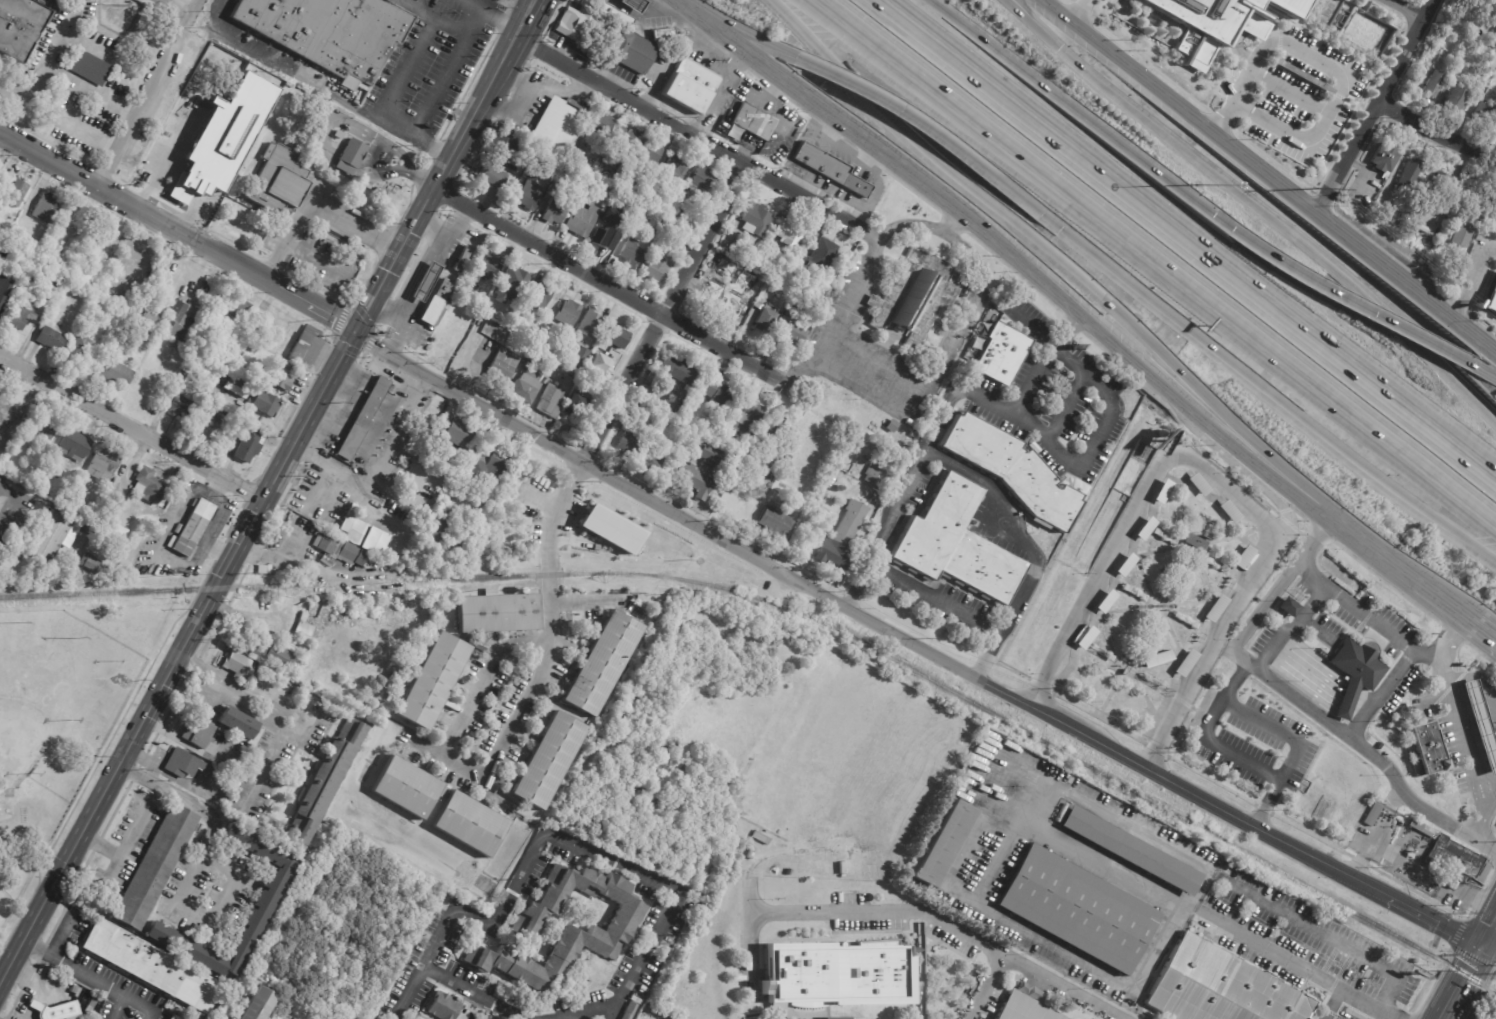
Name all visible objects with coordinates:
road: (655, 0)
road: (683, 4)
road: (180, 5)
building: (632, 5)
gas station: (632, 5)
parking lot: (181, 6)
road: (657, 6)
road: (1408, 10)
road: (672, 12)
road: (1080, 13)
building: (614, 15)
road: (495, 17)
road: (469, 19)
building: (574, 22)
building: (1213, 22)
building: (20, 27)
road: (693, 27)
road: (524, 33)
road: (744, 33)
building: (662, 34)
road: (706, 38)
building: (335, 41)
road: (721, 49)
building: (632, 52)
road: (738, 62)
parking lot: (79, 65)
building: (87, 66)
road: (441, 73)
road: (55, 74)
road: (756, 74)
road: (399, 80)
building: (1435, 84)
building: (690, 85)
road: (795, 87)
road: (27, 88)
road: (776, 90)
road: (562, 94)
road: (721, 95)
road: (142, 96)
road: (520, 97)
building: (1456, 99)
building: (1351, 100)
road: (1177, 106)
road: (1377, 106)
road: (805, 112)
building: (1484, 113)
road: (1079, 114)
road: (476, 119)
building: (753, 121)
road: (71, 125)
building: (602, 126)
road: (926, 126)
building: (556, 127)
road: (832, 131)
road: (1314, 131)
road: (1438, 134)
building: (1495, 136)
road: (694, 137)
building: (623, 138)
road: (849, 144)
building: (502, 145)
building: (165, 146)
building: (351, 153)
building: (651, 154)
building: (576, 155)
road: (867, 157)
building: (1385, 158)
building: (547, 160)
building: (516, 168)
building: (673, 168)
building: (831, 170)
building: (488, 174)
building: (566, 174)
building: (1411, 174)
building: (163, 177)
building: (581, 178)
building: (280, 181)
building: (648, 181)
building: (1442, 181)
building: (699, 183)
road: (909, 188)
building: (18, 193)
building: (527, 196)
road: (314, 202)
building: (667, 202)
building: (613, 203)
road: (1252, 205)
building: (43, 208)
building: (553, 212)
building: (682, 213)
building: (641, 218)
building: (754, 220)
building: (581, 221)
road: (954, 222)
road: (908, 225)
road: (430, 226)
building: (1463, 229)
building: (788, 234)
building: (1493, 234)
road: (1187, 237)
building: (605, 239)
road: (178, 240)
building: (740, 245)
building: (462, 247)
building: (170, 252)
building: (631, 252)
road: (1364, 252)
road: (428, 253)
road: (1057, 255)
building: (747, 257)
building: (817, 259)
road: (1159, 263)
building: (733, 264)
building: (485, 268)
building: (656, 269)
building: (158, 272)
road: (1016, 273)
building: (748, 274)
building: (515, 276)
building: (424, 283)
road: (610, 283)
building: (500, 285)
road: (1471, 285)
building: (442, 292)
building: (6, 294)
building: (539, 295)
building: (915, 297)
building: (1490, 297)
road: (974, 300)
building: (724, 301)
road: (1345, 303)
building: (446, 304)
building: (235, 308)
building: (152, 310)
building: (431, 310)
building: (93, 312)
building: (567, 313)
road: (659, 315)
road: (844, 317)
building: (20, 319)
building: (177, 319)
building: (765, 321)
road: (1454, 323)
road: (401, 324)
building: (588, 324)
road: (1075, 325)
building: (511, 326)
building: (793, 326)
building: (270, 327)
building: (494, 332)
building: (616, 337)
traffic signals: (356, 338)
building: (51, 340)
road: (1113, 346)
building: (305, 347)
building: (79, 348)
building: (999, 353)
building: (534, 356)
building: (581, 356)
road: (880, 362)
building: (599, 363)
building: (501, 367)
building: (674, 370)
building: (573, 372)
building: (114, 374)
road: (1483, 375)
building: (278, 376)
building: (181, 378)
building: (595, 383)
building: (526, 386)
building: (236, 387)
road: (1267, 391)
building: (646, 394)
building: (719, 394)
building: (695, 395)
building: (168, 398)
building: (549, 402)
building: (263, 403)
building: (576, 406)
road: (1062, 406)
building: (180, 407)
building: (591, 407)
building: (749, 415)
road: (942, 416)
building: (223, 417)
building: (9, 418)
building: (361, 421)
building: (666, 421)
building: (202, 424)
building: (892, 426)
building: (771, 427)
road: (1182, 427)
road: (132, 428)
building: (43, 429)
building: (647, 429)
building: (455, 432)
building: (914, 435)
building: (231, 437)
road: (1094, 439)
building: (912, 441)
building: (248, 444)
building: (627, 444)
building: (73, 446)
building: (225, 448)
building: (903, 448)
building: (710, 455)
building: (787, 458)
road: (1162, 459)
building: (653, 464)
building: (102, 465)
building: (445, 466)
building: (1010, 468)
building: (488, 469)
building: (879, 479)
building: (113, 480)
building: (696, 482)
building: (467, 484)
building: (148, 487)
building: (876, 499)
road: (10, 500)
road: (812, 508)
road: (1284, 510)
road: (1285, 510)
road: (1301, 514)
building: (776, 523)
road: (689, 524)
building: (353, 528)
building: (1144, 528)
building: (609, 529)
building: (192, 530)
road: (1321, 531)
building: (434, 532)
building: (459, 535)
building: (52, 537)
building: (118, 537)
building: (842, 539)
building: (956, 540)
building: (1195, 541)
road: (1030, 549)
building: (339, 550)
road: (163, 552)
road: (1372, 552)
building: (1244, 558)
road: (296, 563)
building: (89, 564)
building: (1124, 565)
road: (220, 577)
road: (1387, 583)
road: (1316, 593)
road: (936, 598)
road: (1441, 602)
building: (1289, 607)
railway: (794, 608)
road: (1262, 608)
building: (498, 611)
building: (302, 616)
road: (1369, 621)
road: (556, 629)
building: (302, 630)
road: (1481, 631)
road: (1454, 632)
building: (479, 646)
road: (1482, 653)
building: (270, 654)
building: (1156, 658)
building: (600, 662)
road: (1048, 664)
building: (237, 665)
building: (1357, 670)
road: (1197, 672)
building: (432, 680)
road: (1482, 683)
road: (1285, 687)
road: (199, 692)
road: (278, 708)
building: (237, 723)
building: (1481, 723)
gas station: (1481, 723)
road: (1281, 727)
building: (198, 732)
road: (1085, 738)
road: (1466, 738)
road: (1364, 747)
building: (1428, 747)
road: (1225, 748)
building: (548, 759)
building: (181, 763)
building: (234, 764)
building: (322, 780)
building: (407, 788)
road: (1490, 793)
building: (216, 802)
building: (1372, 814)
building: (470, 823)
building: (268, 825)
building: (1423, 829)
building: (760, 838)
building: (950, 842)
building: (1135, 850)
road: (1313, 857)
building: (1454, 862)
building: (154, 867)
road: (194, 872)
road: (982, 895)
building: (263, 898)
building: (1084, 909)
road: (501, 911)
road: (945, 926)
building: (563, 929)
road: (1489, 931)
road: (1327, 936)
road: (1492, 936)
traffic signals: (1482, 945)
road: (640, 962)
road: (1293, 962)
building: (149, 966)
building: (920, 967)
building: (834, 971)
railway: (1471, 973)
road: (93, 976)
road: (1460, 981)
building: (1224, 986)
road: (986, 988)
road: (409, 992)
building: (635, 1000)
building: (92, 1003)
road: (1332, 1003)
building: (257, 1005)
building: (444, 1006)
building: (1029, 1008)
building: (629, 1011)
building: (59, 1012)
road: (1460, 1012)
building: (85, 1013)
road: (590, 1014)
road: (1379, 1014)
building: (844, 1016)
building: (173, 1017)

